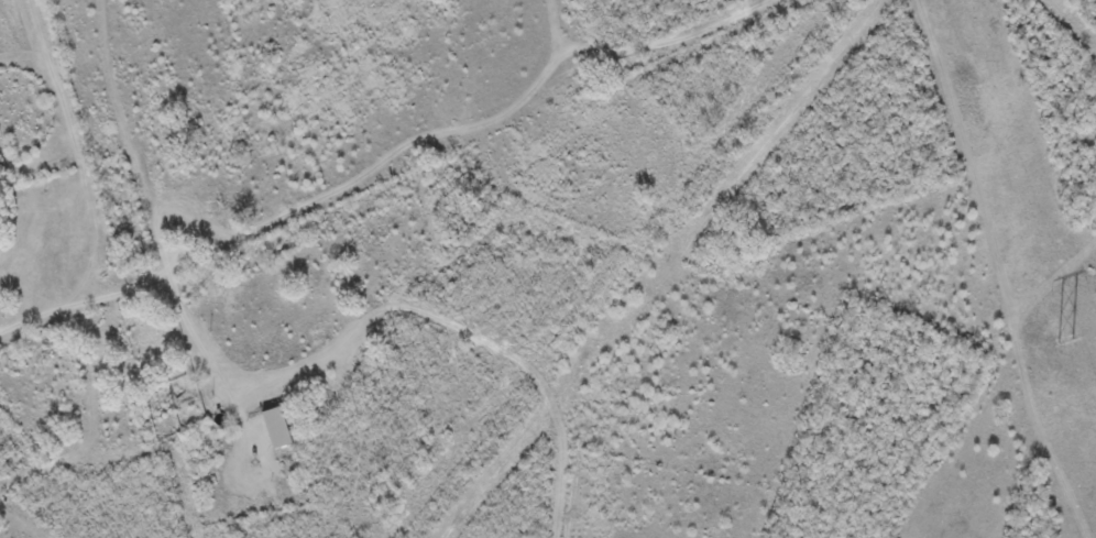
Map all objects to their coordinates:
power tower: (1063, 338)
building: (275, 427)

